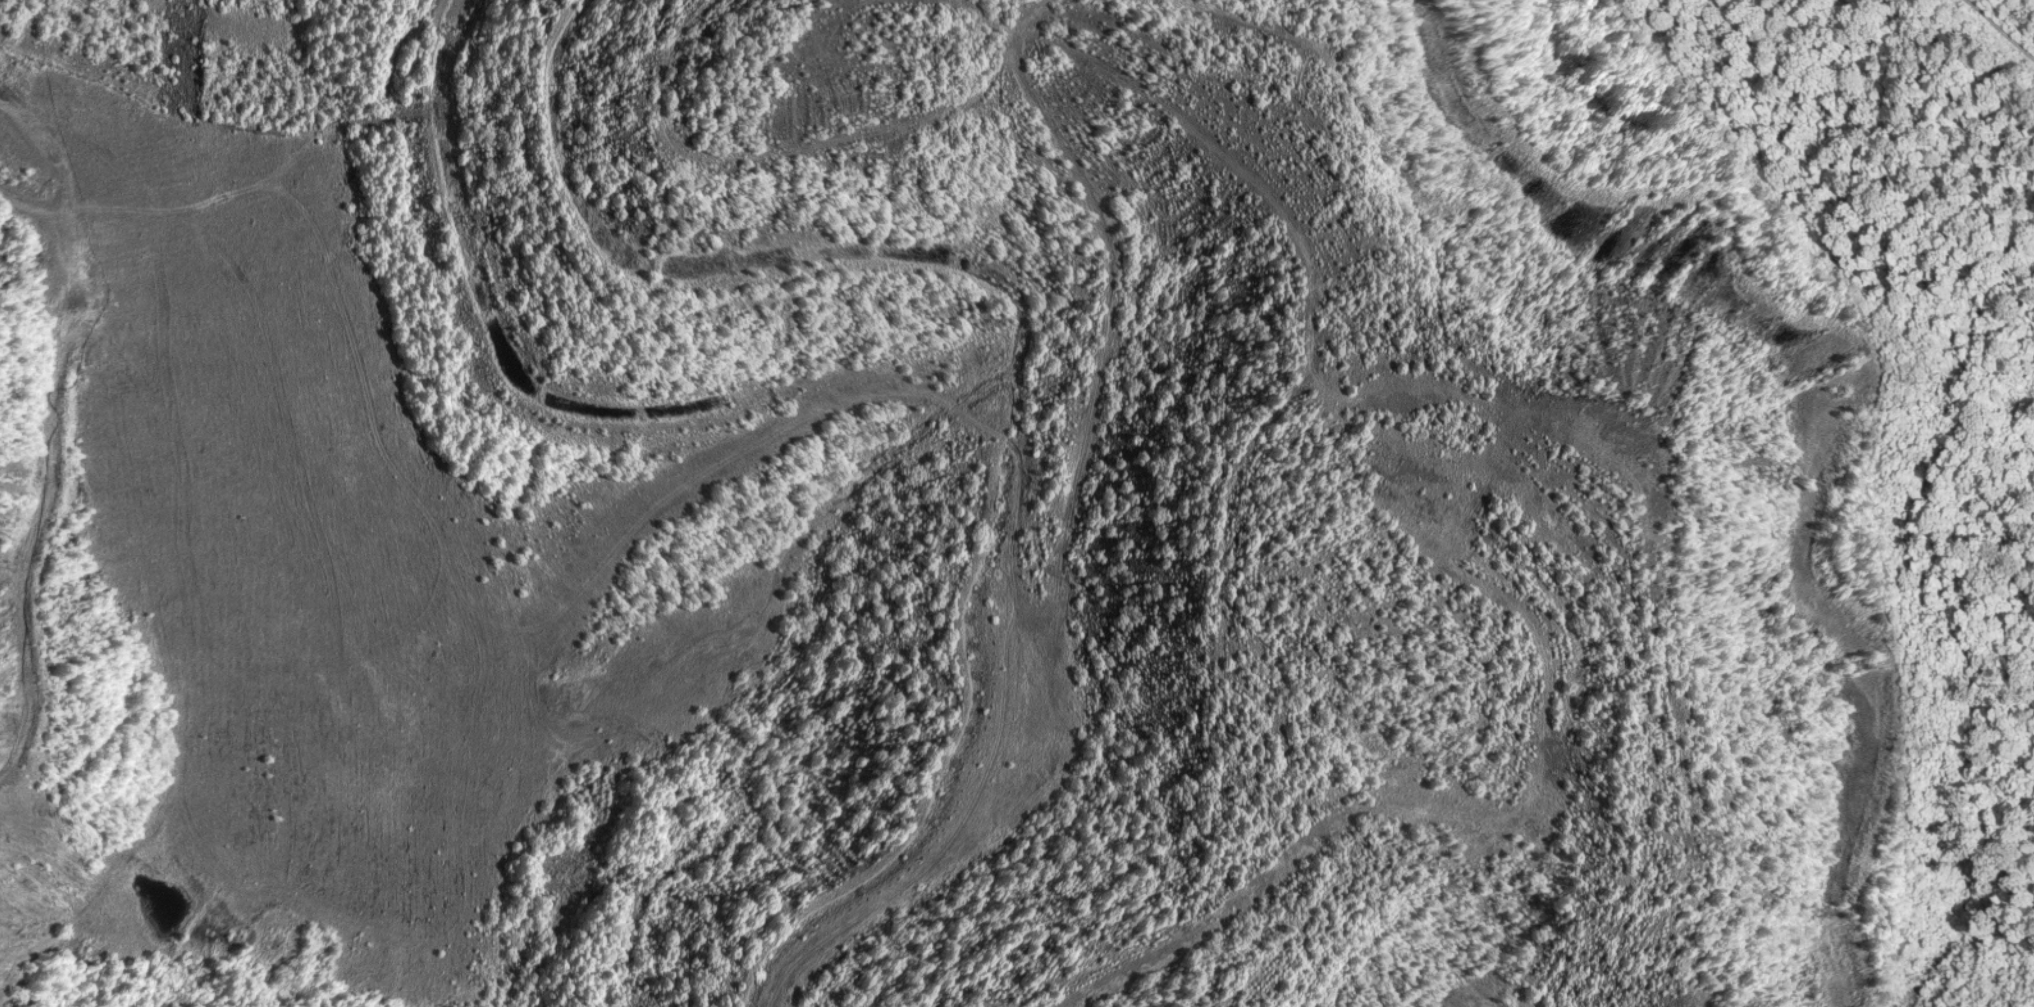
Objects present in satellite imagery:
building: (832, 4)
quarry: (1017, 503)

